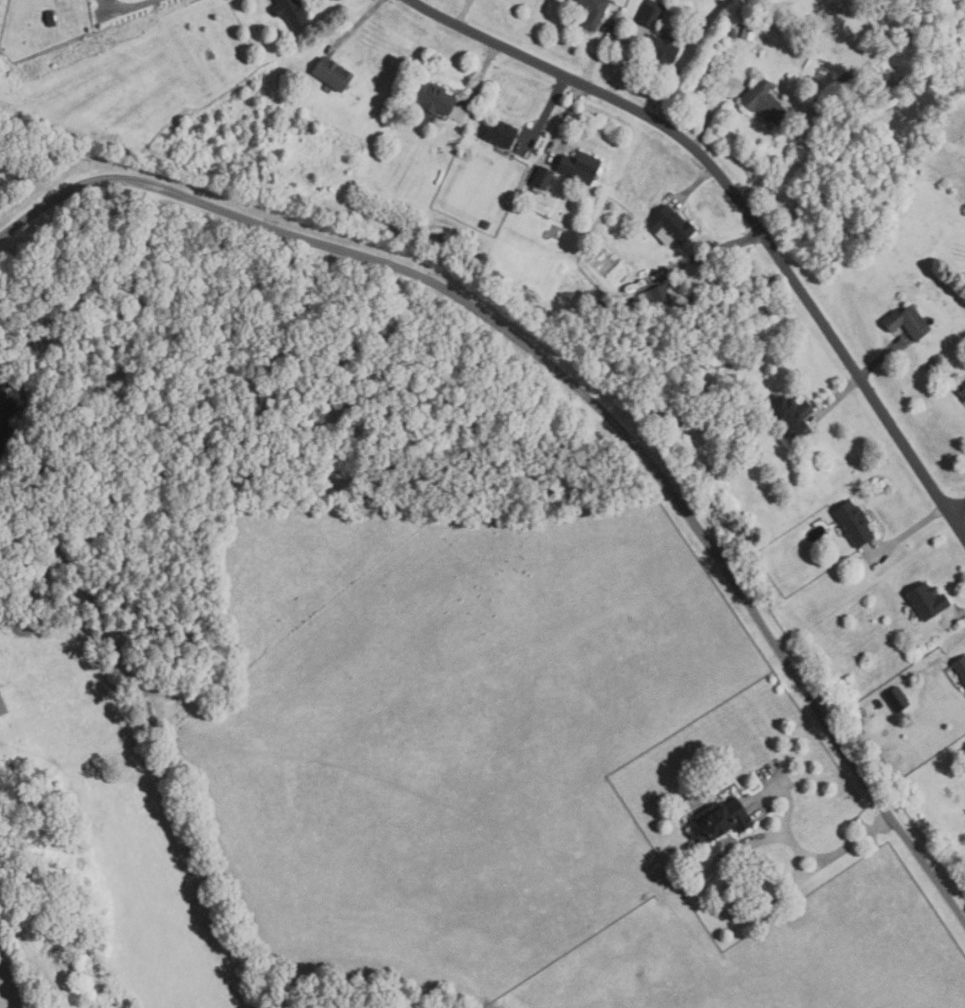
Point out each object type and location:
road: (129, 6)
road: (461, 11)
building: (592, 11)
building: (292, 12)
building: (651, 13)
building: (50, 18)
road: (357, 25)
building: (734, 32)
building: (749, 32)
building: (663, 48)
road: (598, 52)
road: (626, 62)
building: (332, 73)
building: (849, 78)
road: (479, 80)
building: (812, 80)
building: (433, 97)
building: (765, 102)
road: (709, 113)
road: (545, 114)
road: (566, 122)
building: (501, 133)
building: (580, 167)
building: (543, 177)
road: (694, 184)
road: (744, 205)
building: (672, 225)
road: (704, 254)
building: (662, 296)
building: (908, 322)
road: (881, 355)
building: (962, 390)
road: (580, 394)
road: (835, 399)
building: (678, 416)
building: (792, 416)
road: (958, 509)
building: (855, 523)
road: (907, 532)
building: (927, 601)
road: (953, 617)
building: (960, 668)
building: (4, 703)
building: (879, 703)
building: (720, 821)
road: (726, 914)

